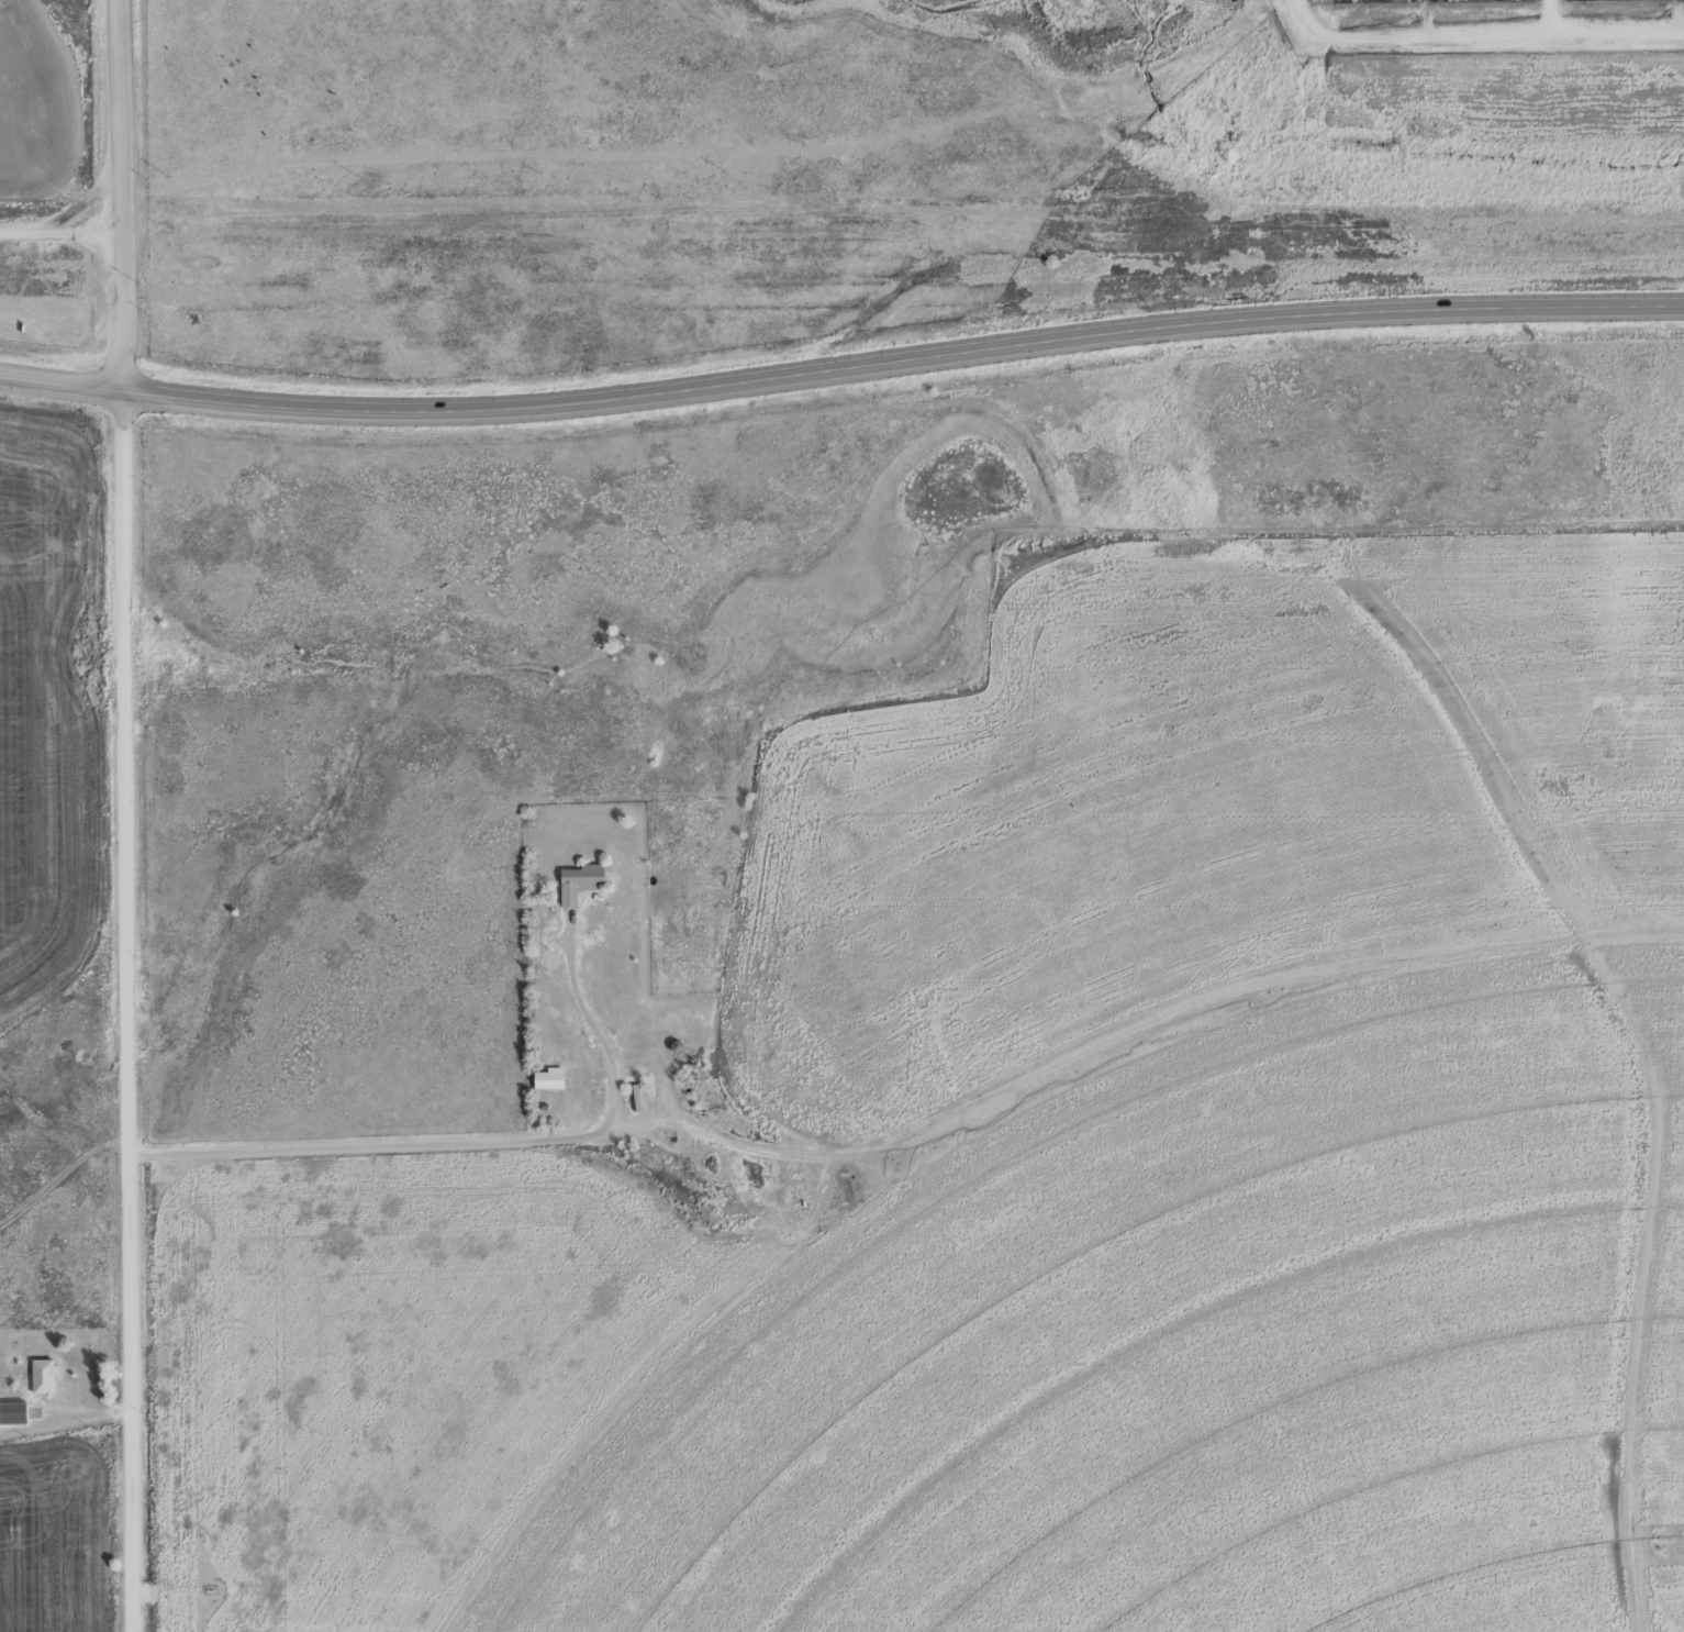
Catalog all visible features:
road: (1512, 14)
road: (1485, 27)
crop: (1450, 54)
road: (840, 374)
road: (133, 815)
building: (577, 882)
building: (546, 1079)
building: (42, 1376)
building: (12, 1412)

